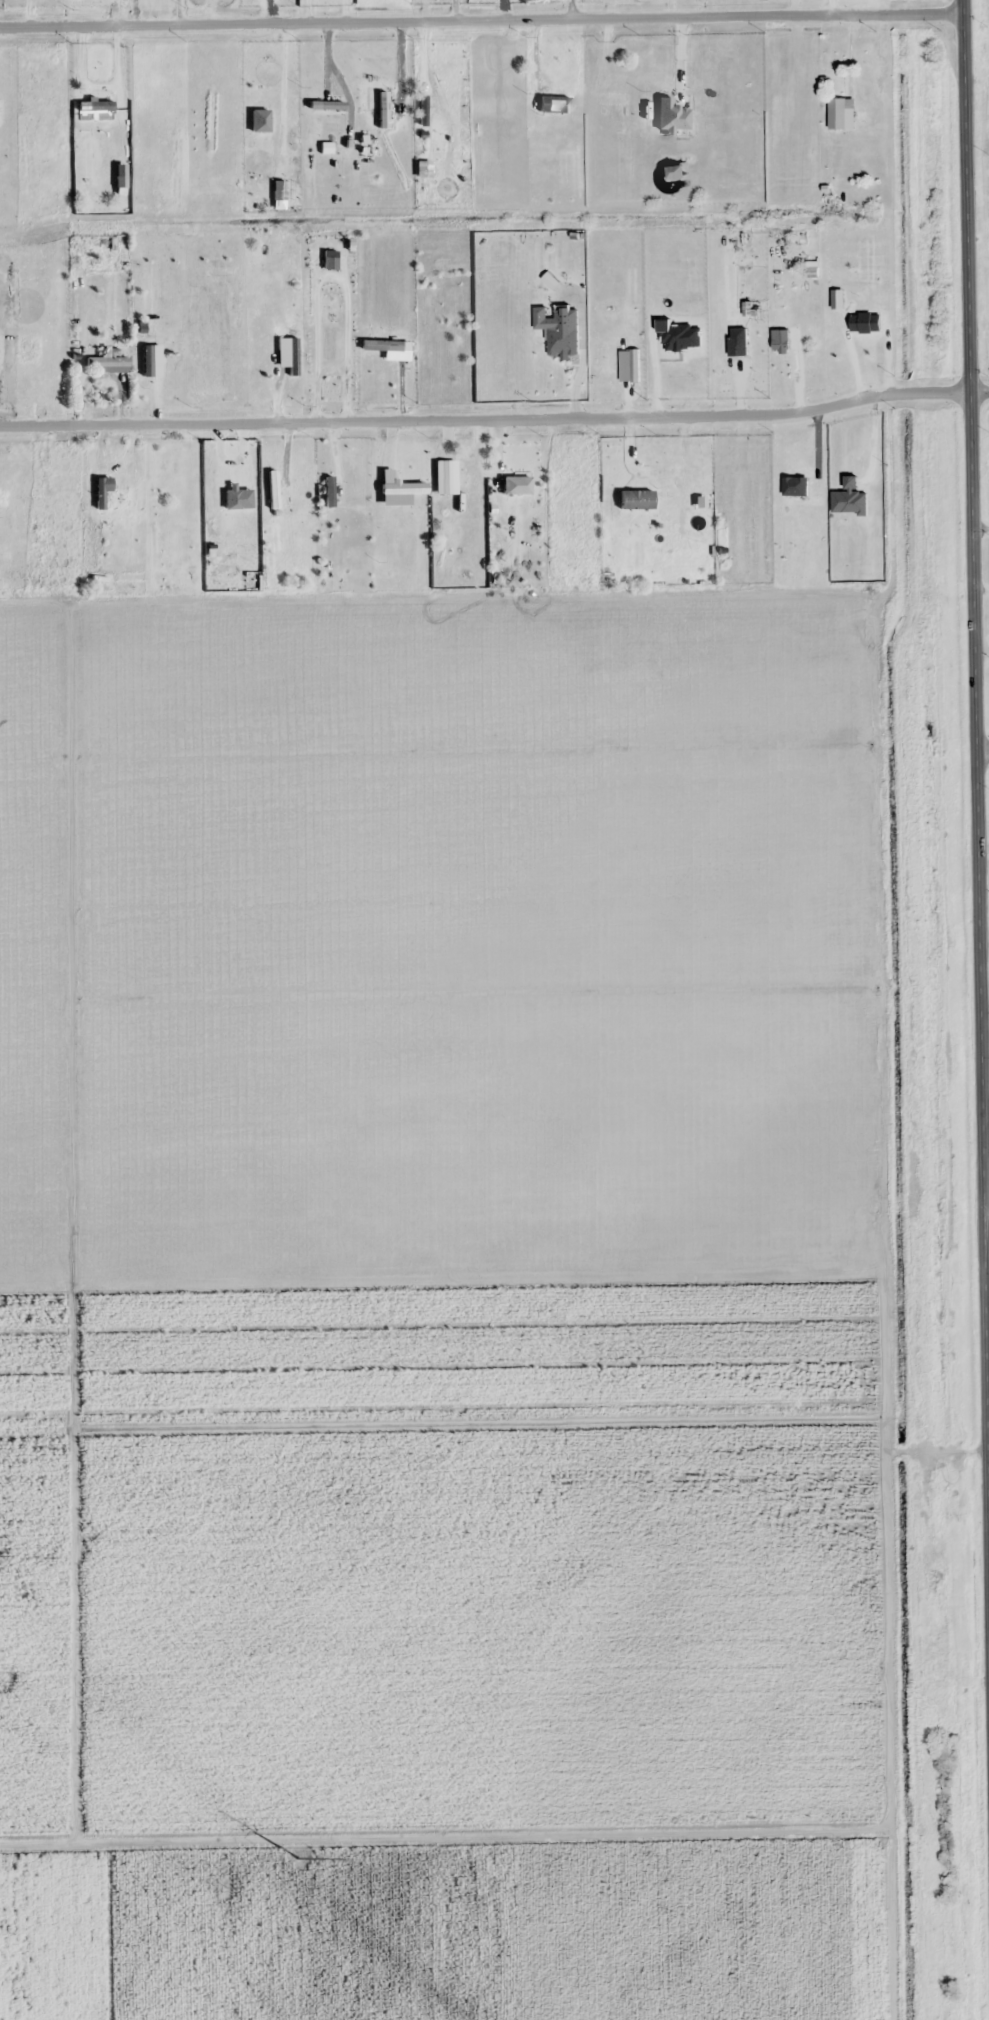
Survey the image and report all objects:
road: (979, 390)
road: (975, 746)
road: (982, 753)
road: (985, 1109)
power tower: (298, 1855)
power tower: (220, 1887)

